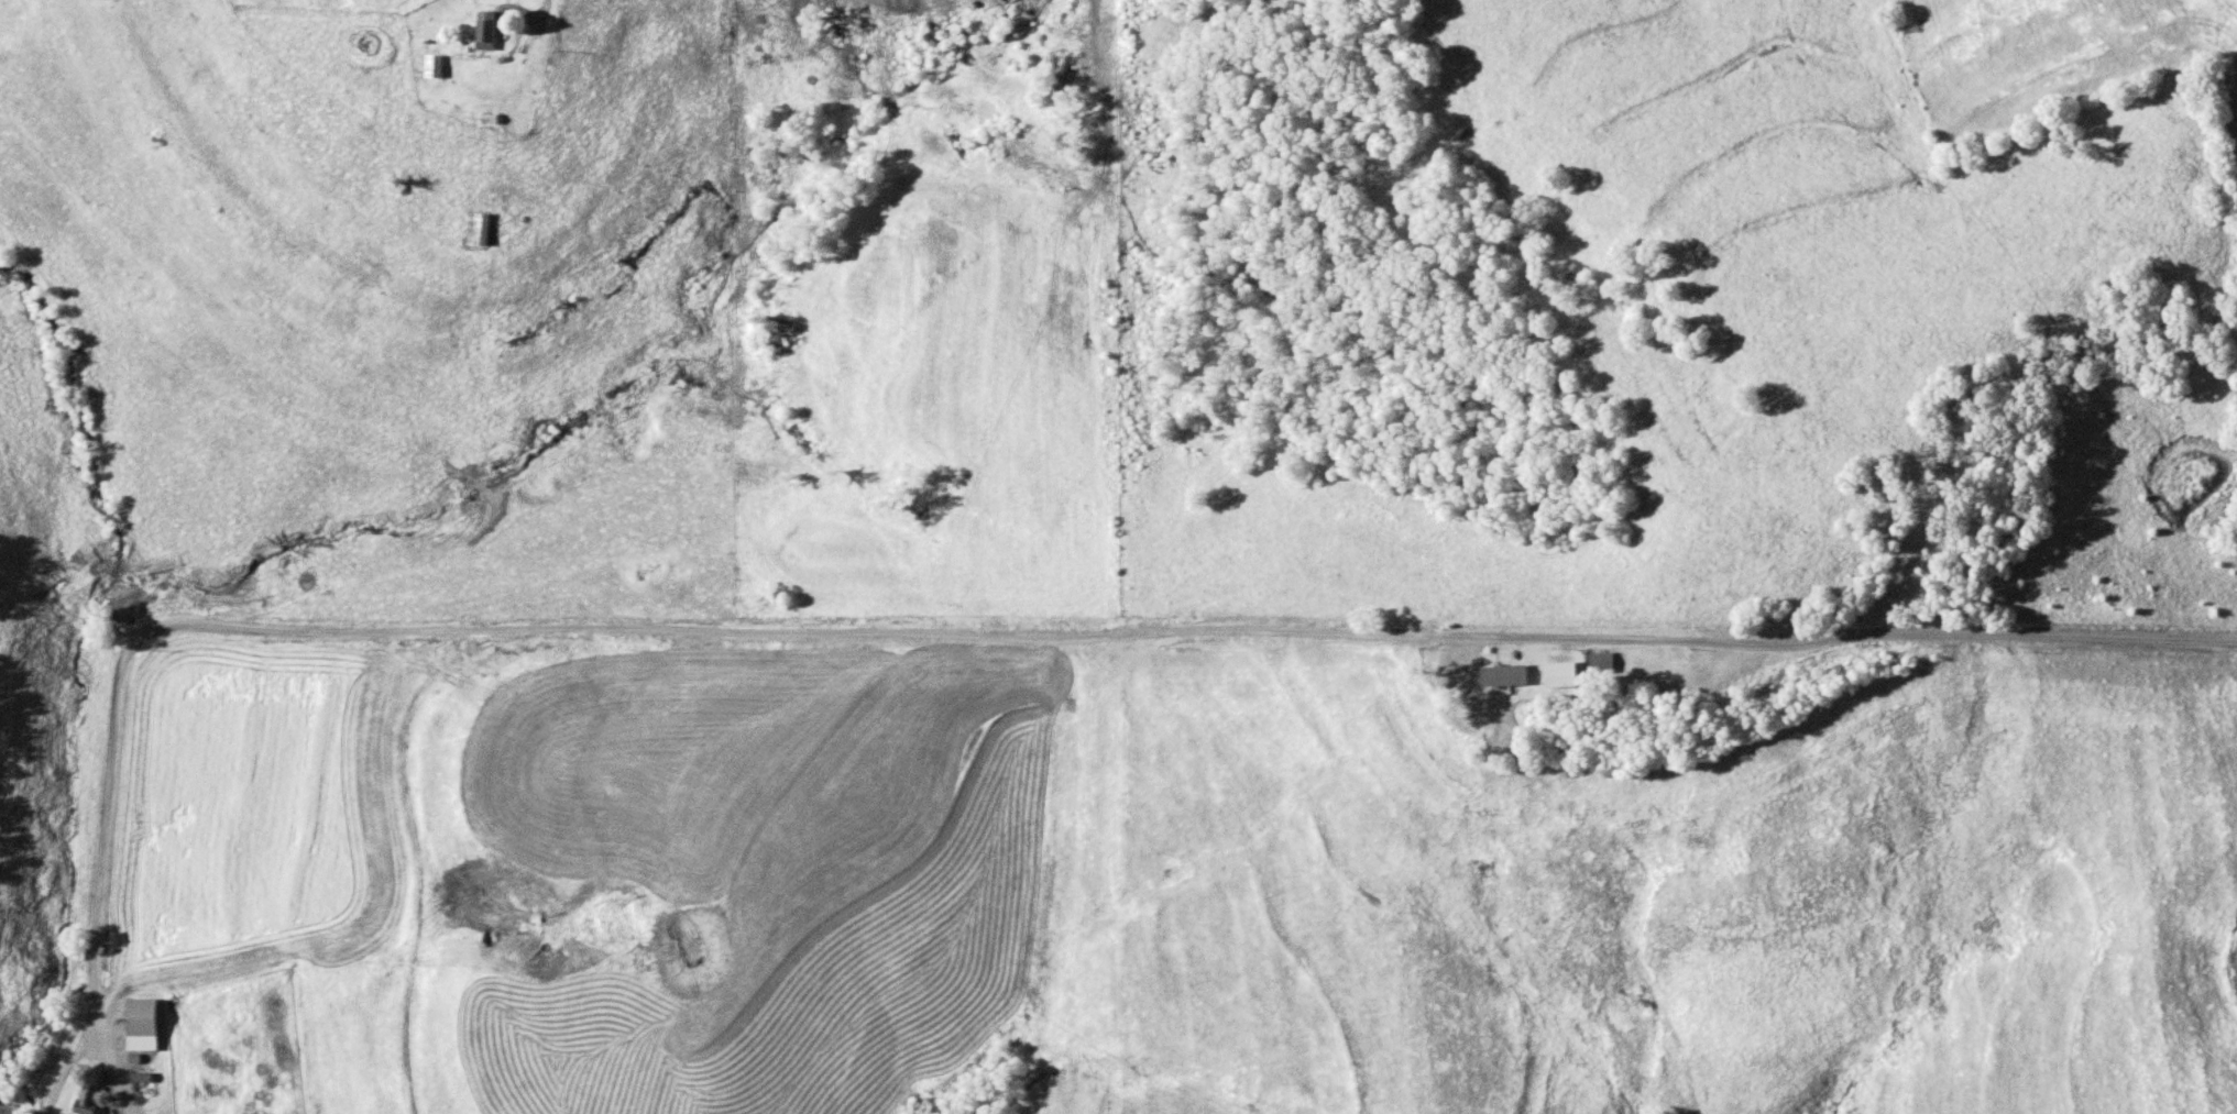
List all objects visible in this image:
road: (997, 618)
road: (73, 1055)
road: (113, 1056)

